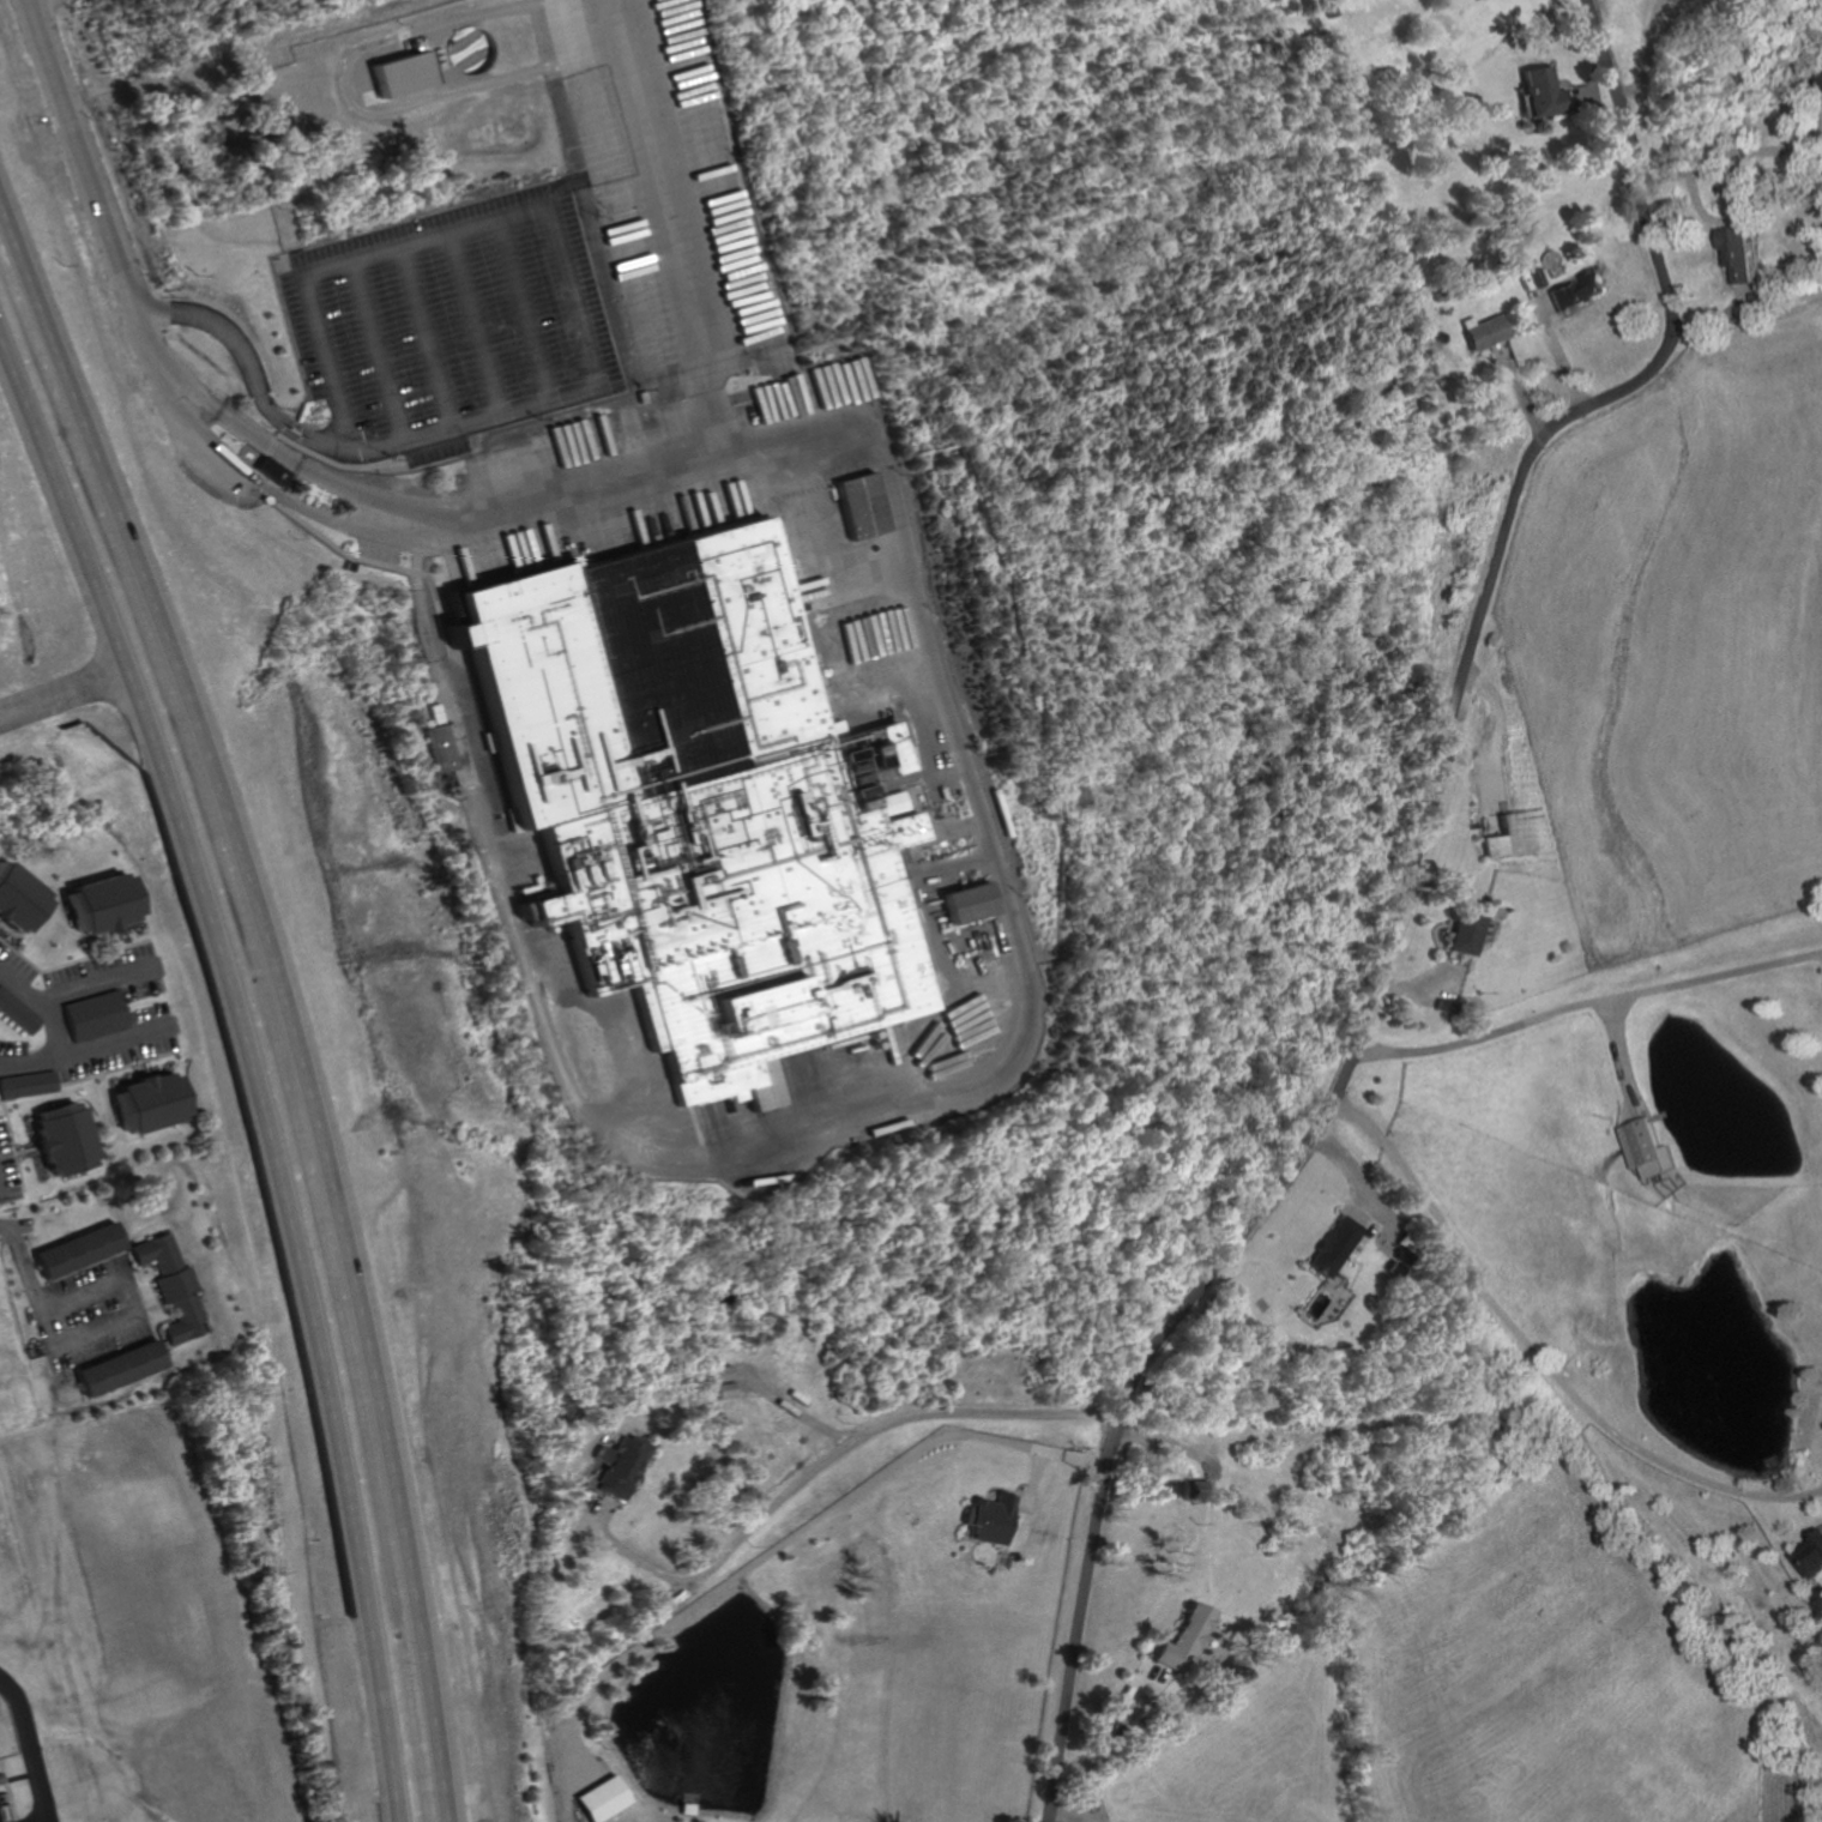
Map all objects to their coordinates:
building: (1329, 10)
road: (605, 25)
road: (1642, 53)
building: (397, 72)
building: (1818, 80)
building: (1546, 92)
road: (1580, 96)
road: (1592, 97)
road: (355, 107)
road: (1730, 151)
road: (97, 195)
road: (553, 225)
building: (1743, 251)
road: (671, 255)
building: (1579, 291)
road: (524, 309)
road: (1725, 320)
road: (476, 324)
parking lot: (452, 325)
building: (1482, 330)
road: (225, 332)
road: (428, 337)
road: (1556, 345)
road: (378, 350)
road: (1519, 387)
road: (332, 442)
road: (273, 448)
building: (271, 470)
road: (254, 479)
building: (863, 505)
road: (60, 694)
road: (1500, 732)
building: (438, 749)
building: (694, 801)
building: (1506, 835)
building: (20, 899)
road: (1399, 900)
building: (966, 903)
building: (104, 904)
building: (1462, 931)
road: (1413, 984)
road: (284, 1002)
road: (1587, 1002)
road: (59, 1004)
building: (1444, 1006)
building: (18, 1012)
building: (96, 1016)
road: (65, 1057)
road: (1628, 1057)
road: (1024, 1060)
road: (253, 1072)
building: (29, 1085)
building: (151, 1103)
building: (66, 1139)
building: (1655, 1145)
road: (2, 1166)
road: (1357, 1183)
road: (1356, 1205)
building: (1404, 1239)
building: (1331, 1243)
road: (22, 1250)
building: (82, 1250)
building: (1398, 1254)
building: (176, 1286)
road: (131, 1316)
road: (1537, 1357)
building: (123, 1369)
building: (722, 1375)
building: (728, 1389)
road: (809, 1419)
road: (1171, 1442)
road: (1086, 1459)
building: (619, 1466)
road: (814, 1471)
road: (1037, 1484)
building: (1200, 1488)
building: (996, 1519)
road: (778, 1549)
building: (1814, 1556)
building: (1185, 1636)
road: (1114, 1724)
road: (32, 1744)
building: (604, 1799)
road: (1079, 1814)
road: (1052, 1820)
building: (0, 1821)

